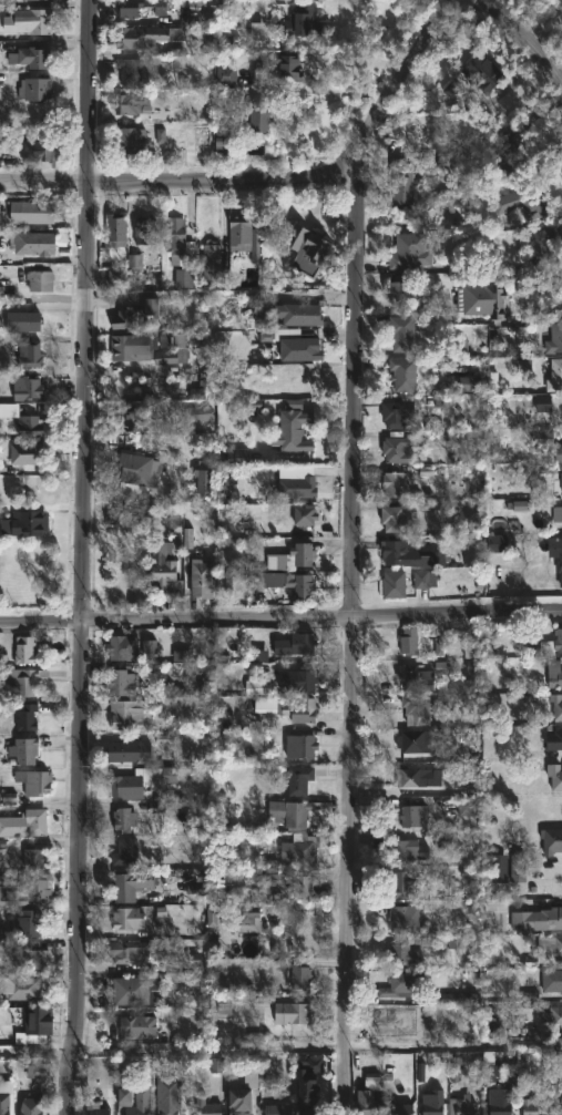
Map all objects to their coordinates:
building: (35, 0)
building: (141, 7)
building: (33, 21)
building: (297, 24)
road: (527, 35)
building: (143, 37)
building: (33, 58)
building: (284, 68)
building: (130, 70)
building: (482, 71)
building: (226, 76)
road: (215, 89)
road: (335, 89)
building: (37, 90)
building: (132, 104)
building: (259, 122)
building: (223, 141)
building: (131, 142)
building: (40, 151)
road: (269, 177)
building: (402, 184)
building: (522, 202)
building: (34, 212)
building: (2, 214)
building: (145, 228)
building: (115, 232)
building: (245, 236)
building: (175, 238)
building: (35, 242)
building: (541, 243)
building: (305, 248)
building: (411, 250)
building: (212, 259)
building: (117, 277)
building: (38, 279)
road: (515, 288)
building: (401, 294)
building: (484, 297)
building: (135, 314)
building: (298, 314)
building: (20, 320)
building: (401, 330)
building: (554, 338)
building: (297, 342)
building: (127, 345)
building: (173, 349)
building: (29, 351)
building: (405, 369)
building: (555, 376)
building: (27, 387)
building: (392, 415)
building: (200, 416)
building: (140, 420)
building: (29, 422)
building: (294, 430)
building: (398, 448)
building: (559, 452)
building: (30, 454)
building: (136, 467)
building: (204, 482)
building: (395, 482)
building: (298, 487)
building: (558, 513)
building: (124, 514)
building: (305, 514)
building: (396, 518)
building: (23, 523)
building: (497, 545)
building: (300, 555)
building: (411, 555)
building: (555, 555)
road: (81, 557)
building: (163, 571)
building: (203, 577)
building: (293, 582)
building: (395, 583)
road: (280, 618)
road: (352, 628)
building: (409, 641)
building: (558, 641)
building: (295, 645)
building: (30, 646)
building: (117, 646)
building: (554, 673)
building: (418, 676)
building: (24, 679)
building: (299, 681)
building: (122, 682)
building: (556, 705)
building: (299, 708)
building: (417, 708)
building: (131, 712)
building: (27, 717)
building: (554, 738)
building: (418, 745)
building: (306, 747)
building: (24, 750)
building: (132, 751)
building: (555, 776)
building: (413, 777)
building: (303, 779)
building: (140, 781)
building: (37, 782)
building: (297, 814)
building: (413, 816)
building: (125, 819)
building: (25, 822)
building: (551, 840)
building: (306, 849)
building: (405, 849)
building: (129, 851)
building: (35, 858)
building: (518, 868)
building: (188, 882)
building: (402, 883)
building: (131, 884)
building: (304, 887)
building: (38, 892)
building: (129, 918)
building: (246, 919)
building: (406, 919)
building: (538, 920)
building: (30, 923)
building: (551, 944)
building: (405, 953)
building: (135, 955)
building: (39, 960)
building: (302, 976)
building: (553, 980)
building: (403, 985)
building: (20, 986)
building: (137, 991)
building: (293, 1013)
building: (554, 1017)
building: (391, 1022)
building: (39, 1024)
building: (140, 1026)
road: (280, 1056)
building: (310, 1094)
building: (242, 1102)
building: (501, 1102)
building: (560, 1102)
building: (140, 1103)
building: (368, 1103)
building: (431, 1104)
building: (4, 1105)
building: (31, 1105)
building: (466, 1105)
building: (205, 1106)
building: (533, 1106)
building: (170, 1107)
building: (98, 1108)
building: (277, 1109)
building: (400, 1109)
building: (558, 1109)

